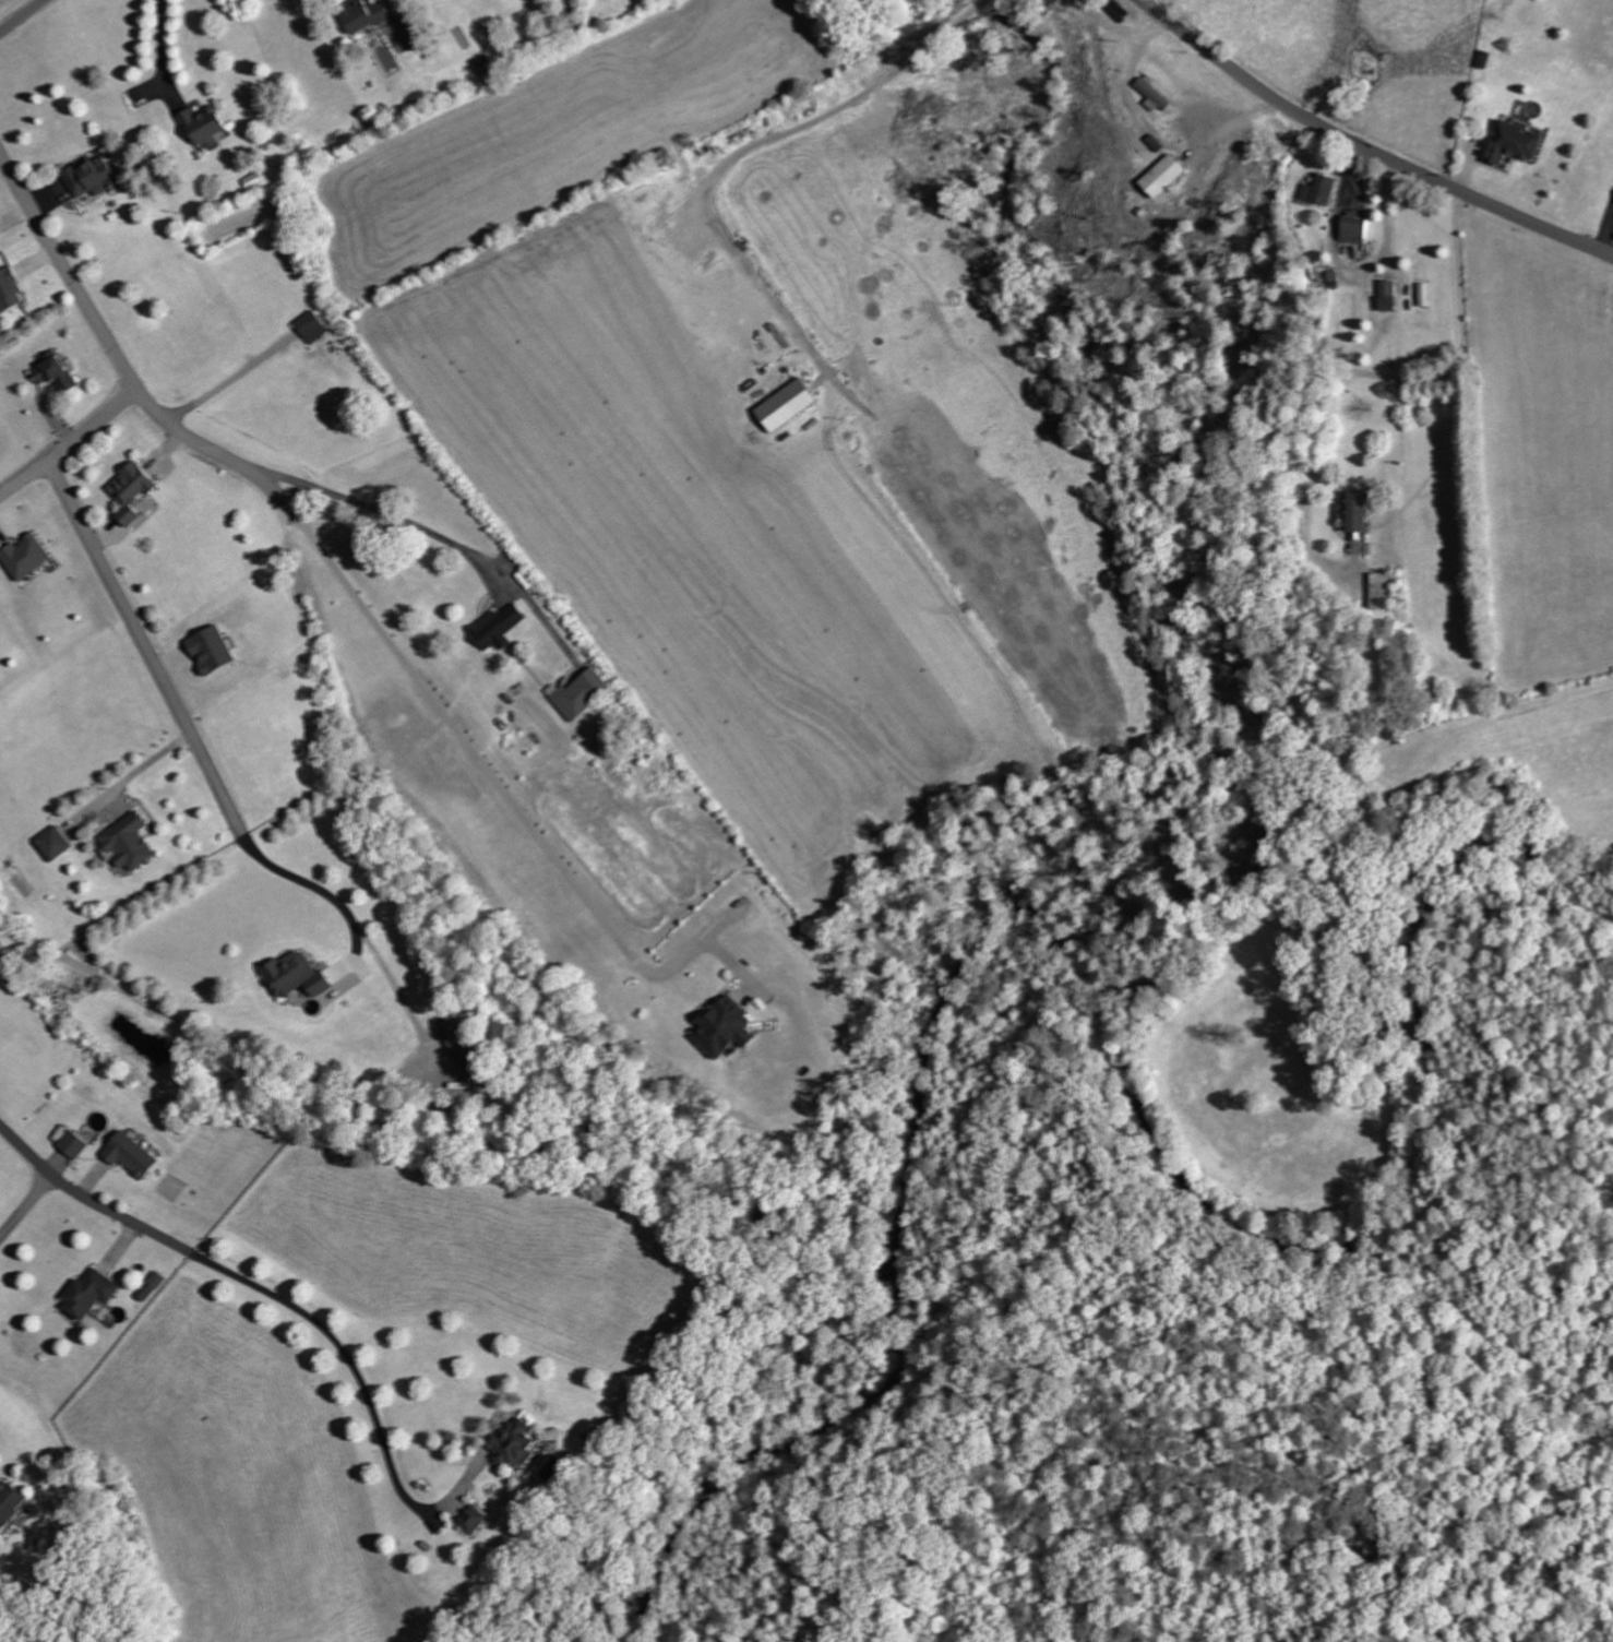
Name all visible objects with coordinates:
building: (363, 15)
road: (23, 16)
road: (164, 51)
building: (1483, 59)
building: (485, 66)
building: (1154, 96)
building: (203, 127)
building: (1513, 143)
road: (1366, 148)
building: (1168, 175)
building: (92, 177)
building: (1319, 190)
building: (1353, 229)
building: (10, 291)
building: (1387, 296)
building: (310, 328)
building: (55, 374)
building: (785, 406)
road: (71, 444)
building: (131, 492)
building: (1355, 512)
road: (327, 550)
building: (24, 557)
building: (1382, 592)
building: (495, 628)
road: (148, 650)
building: (211, 651)
building: (580, 694)
building: (53, 844)
building: (128, 844)
building: (294, 977)
building: (724, 1028)
building: (464, 1050)
building: (72, 1146)
building: (129, 1156)
road: (25, 1205)
road: (135, 1223)
building: (88, 1294)
building: (512, 1442)
building: (9, 1502)
building: (473, 1520)

